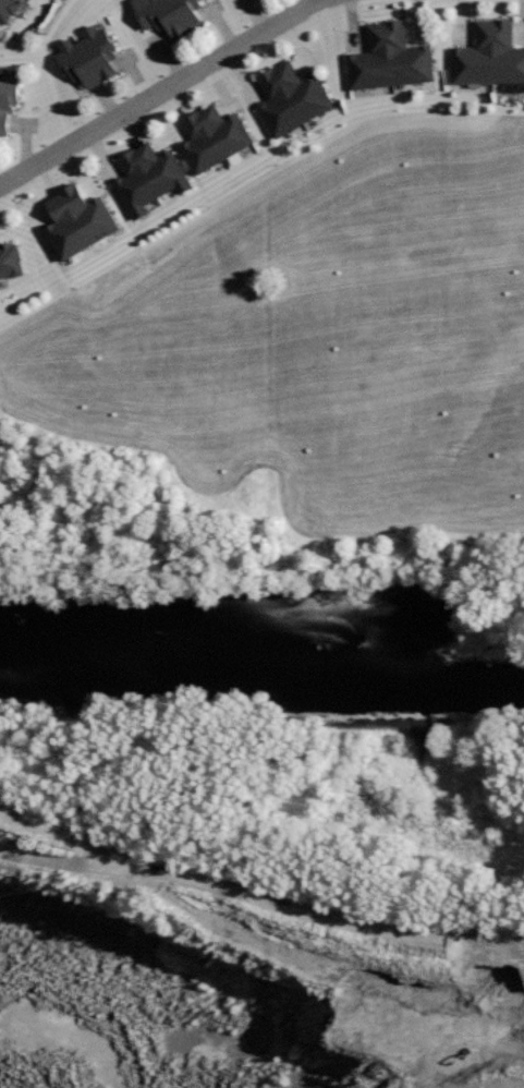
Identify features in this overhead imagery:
building: (8, 10)
building: (171, 14)
building: (489, 55)
building: (89, 56)
building: (390, 58)
road: (161, 92)
building: (290, 97)
building: (8, 99)
building: (214, 136)
building: (151, 176)
building: (80, 221)
building: (10, 258)
river: (261, 679)
quarry: (260, 883)
road: (260, 910)

